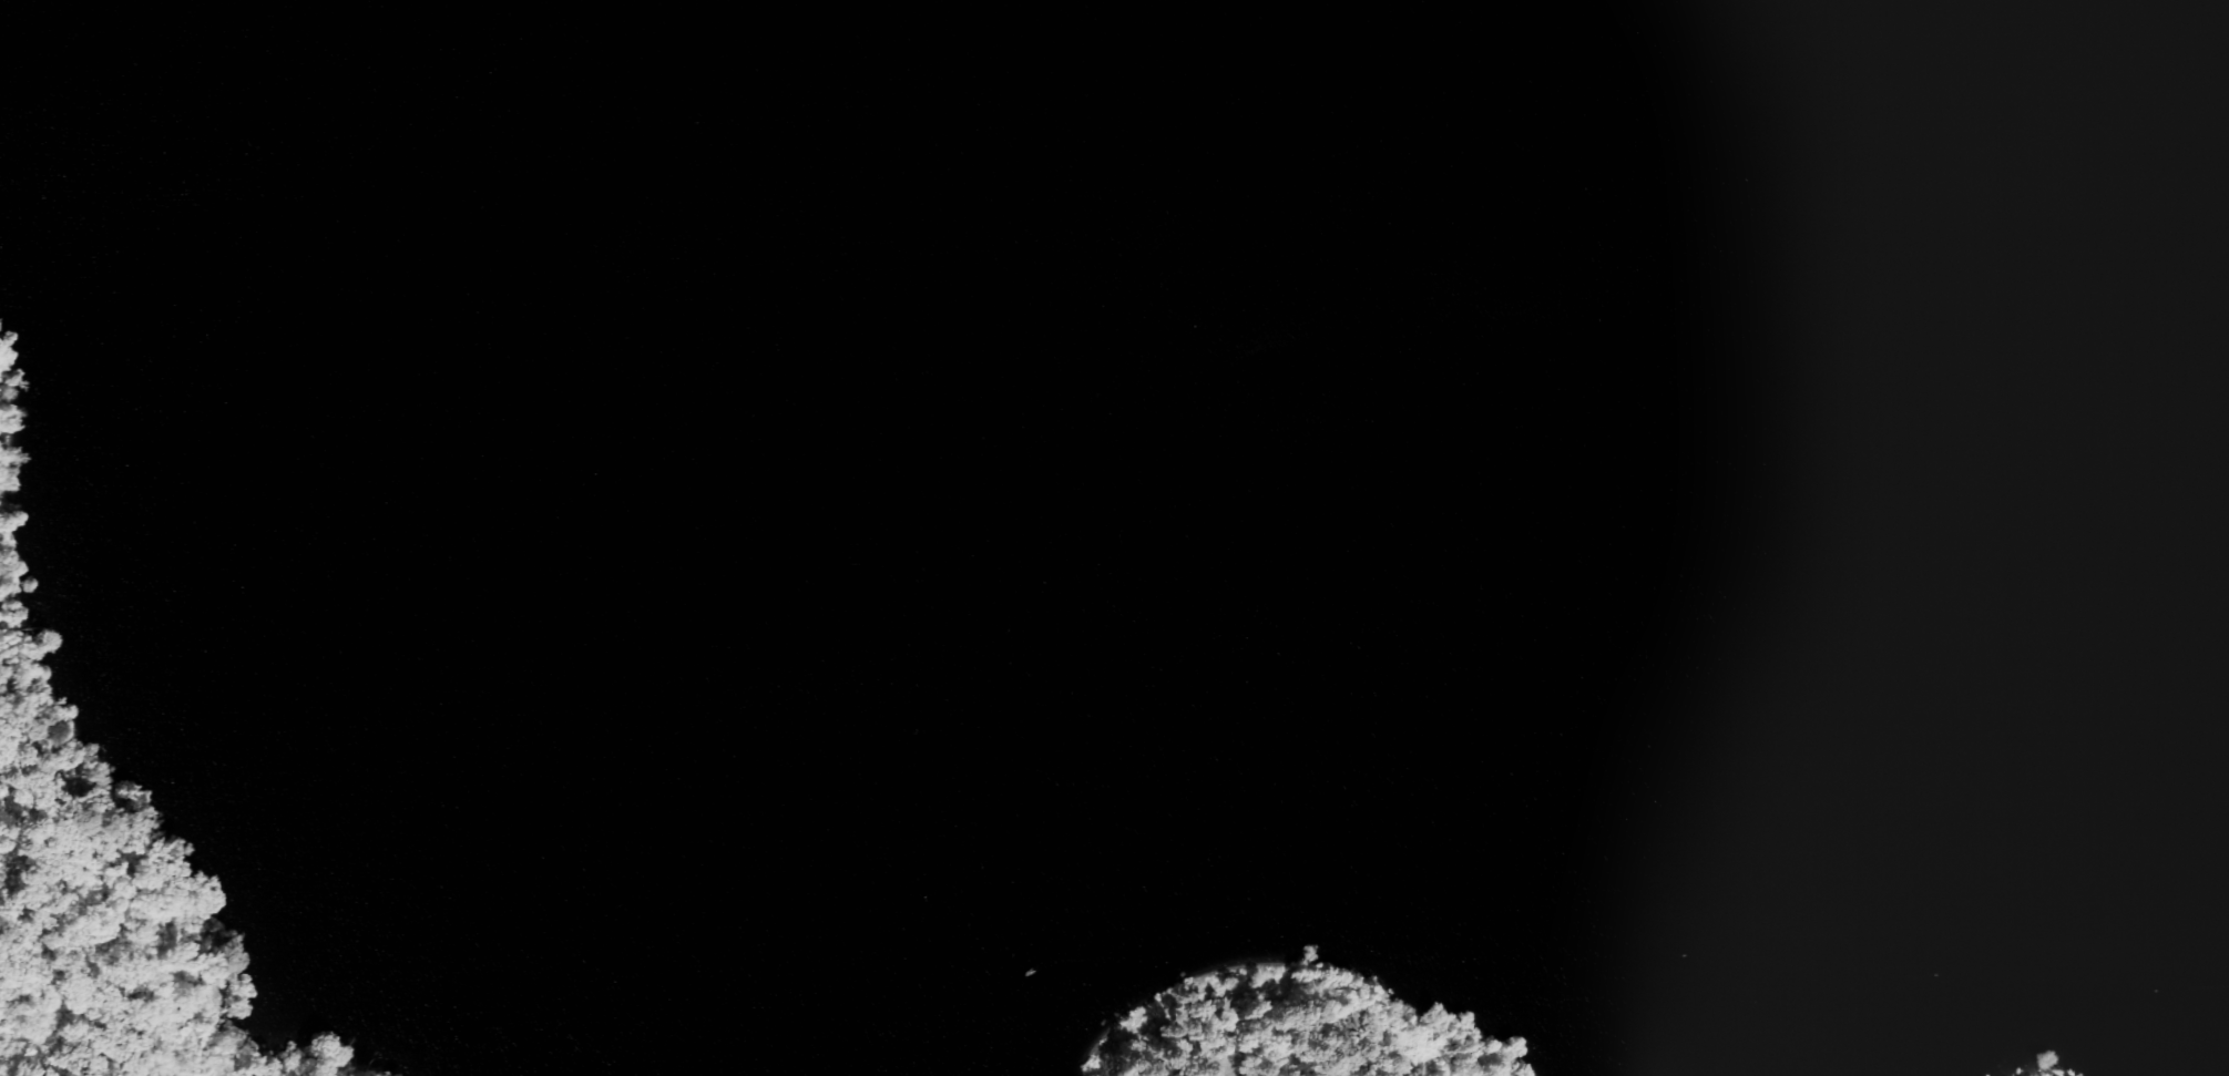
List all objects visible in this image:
river: (1003, 959)

